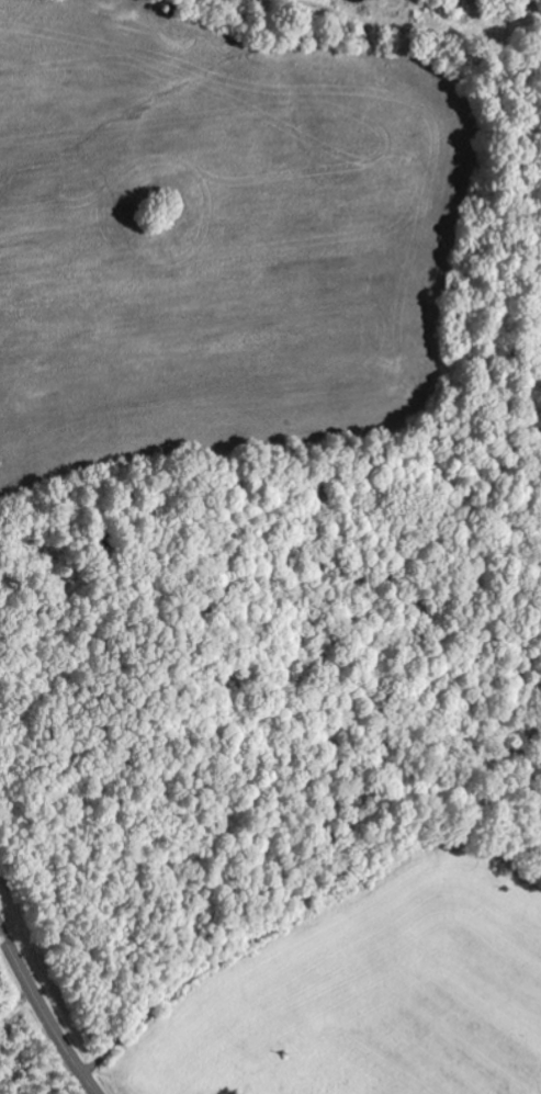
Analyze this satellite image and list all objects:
road: (46, 1011)

